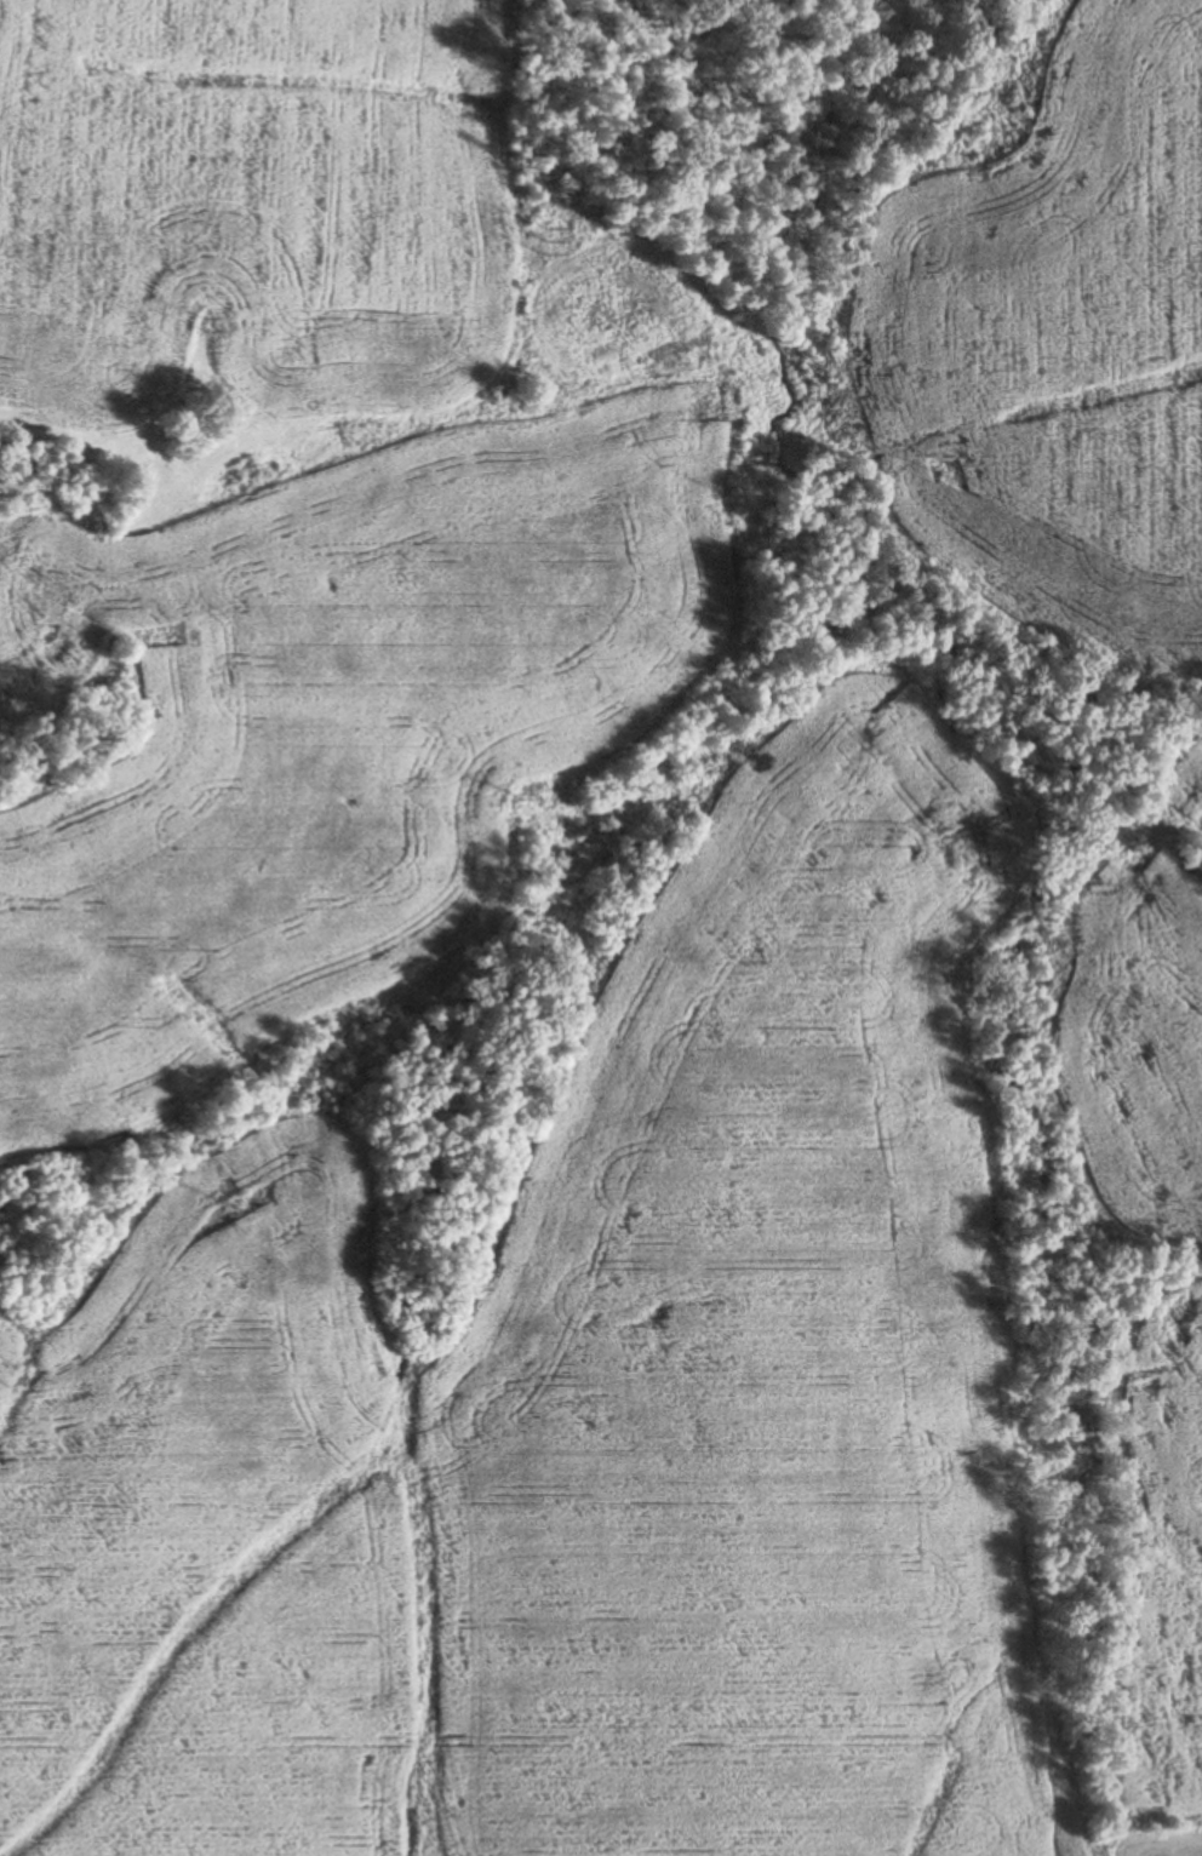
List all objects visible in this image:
power tower: (539, 240)
power tower: (200, 323)
power tower: (945, 471)

